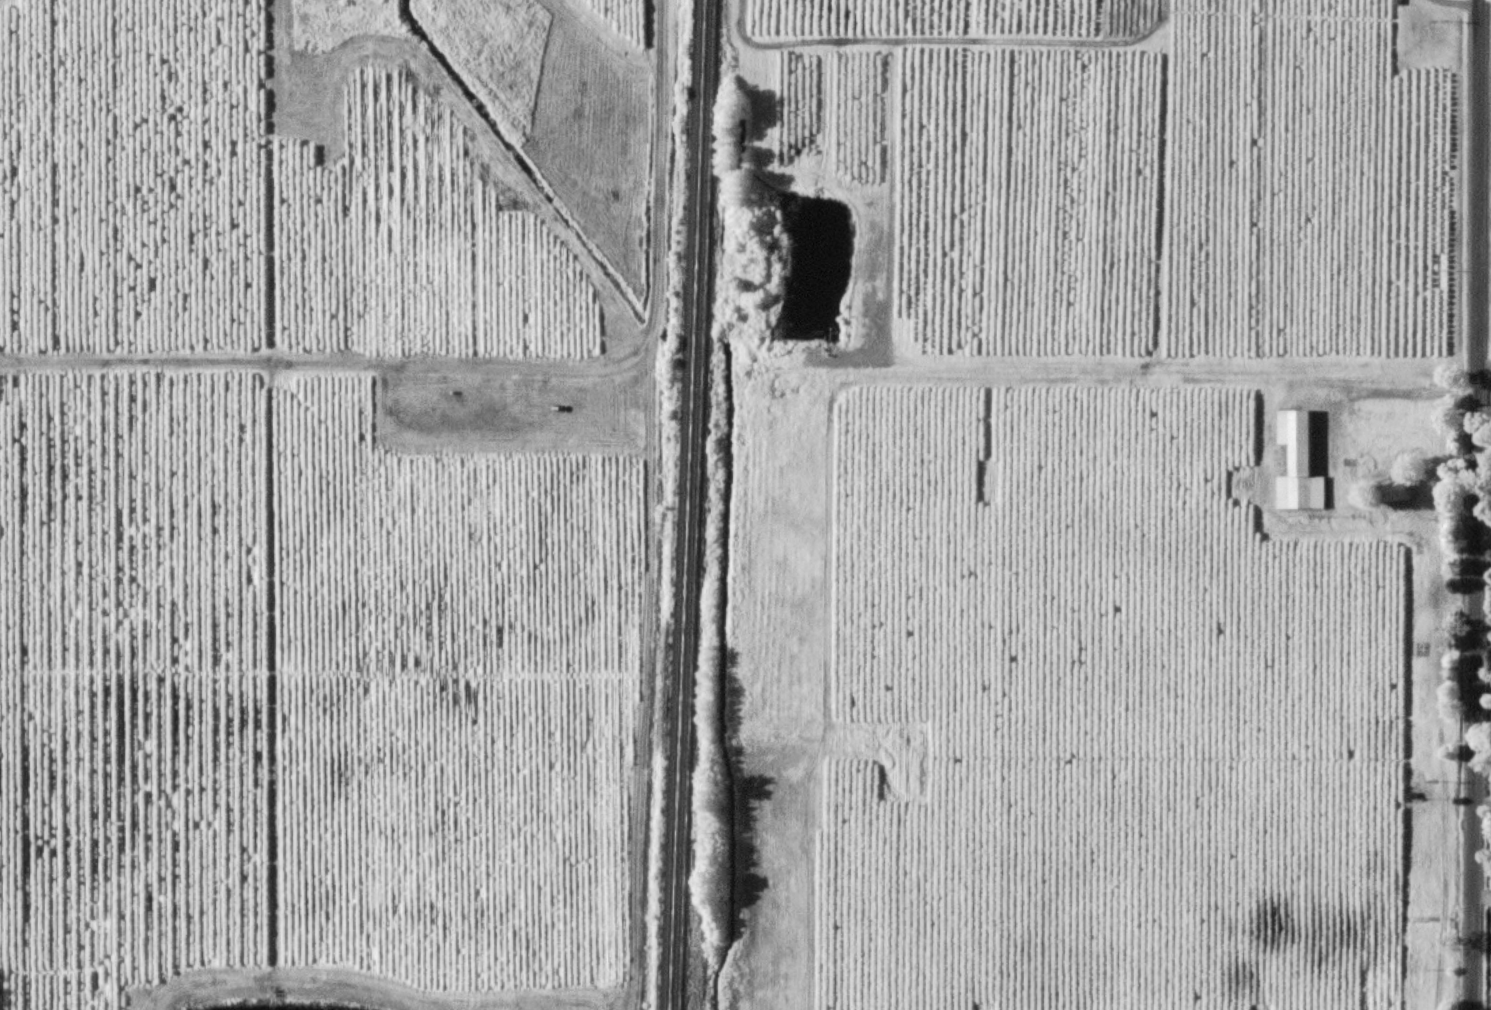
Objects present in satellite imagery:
building: (1299, 463)
building: (1394, 490)
railway: (691, 505)
railway: (700, 505)
road: (1477, 505)

